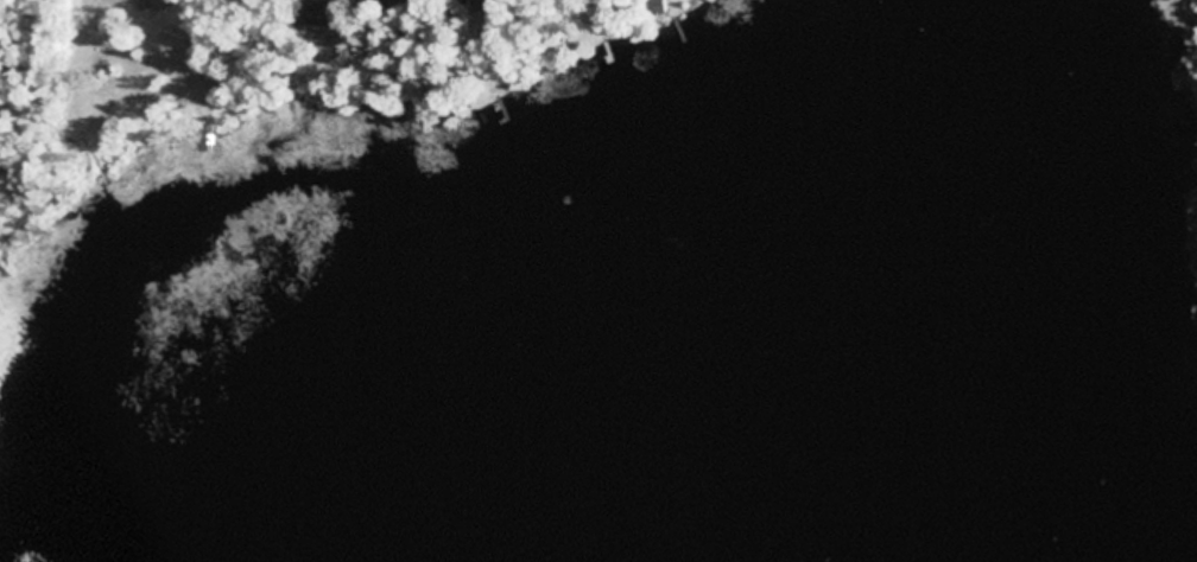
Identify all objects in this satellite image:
building: (401, 2)
building: (657, 6)
building: (324, 14)

